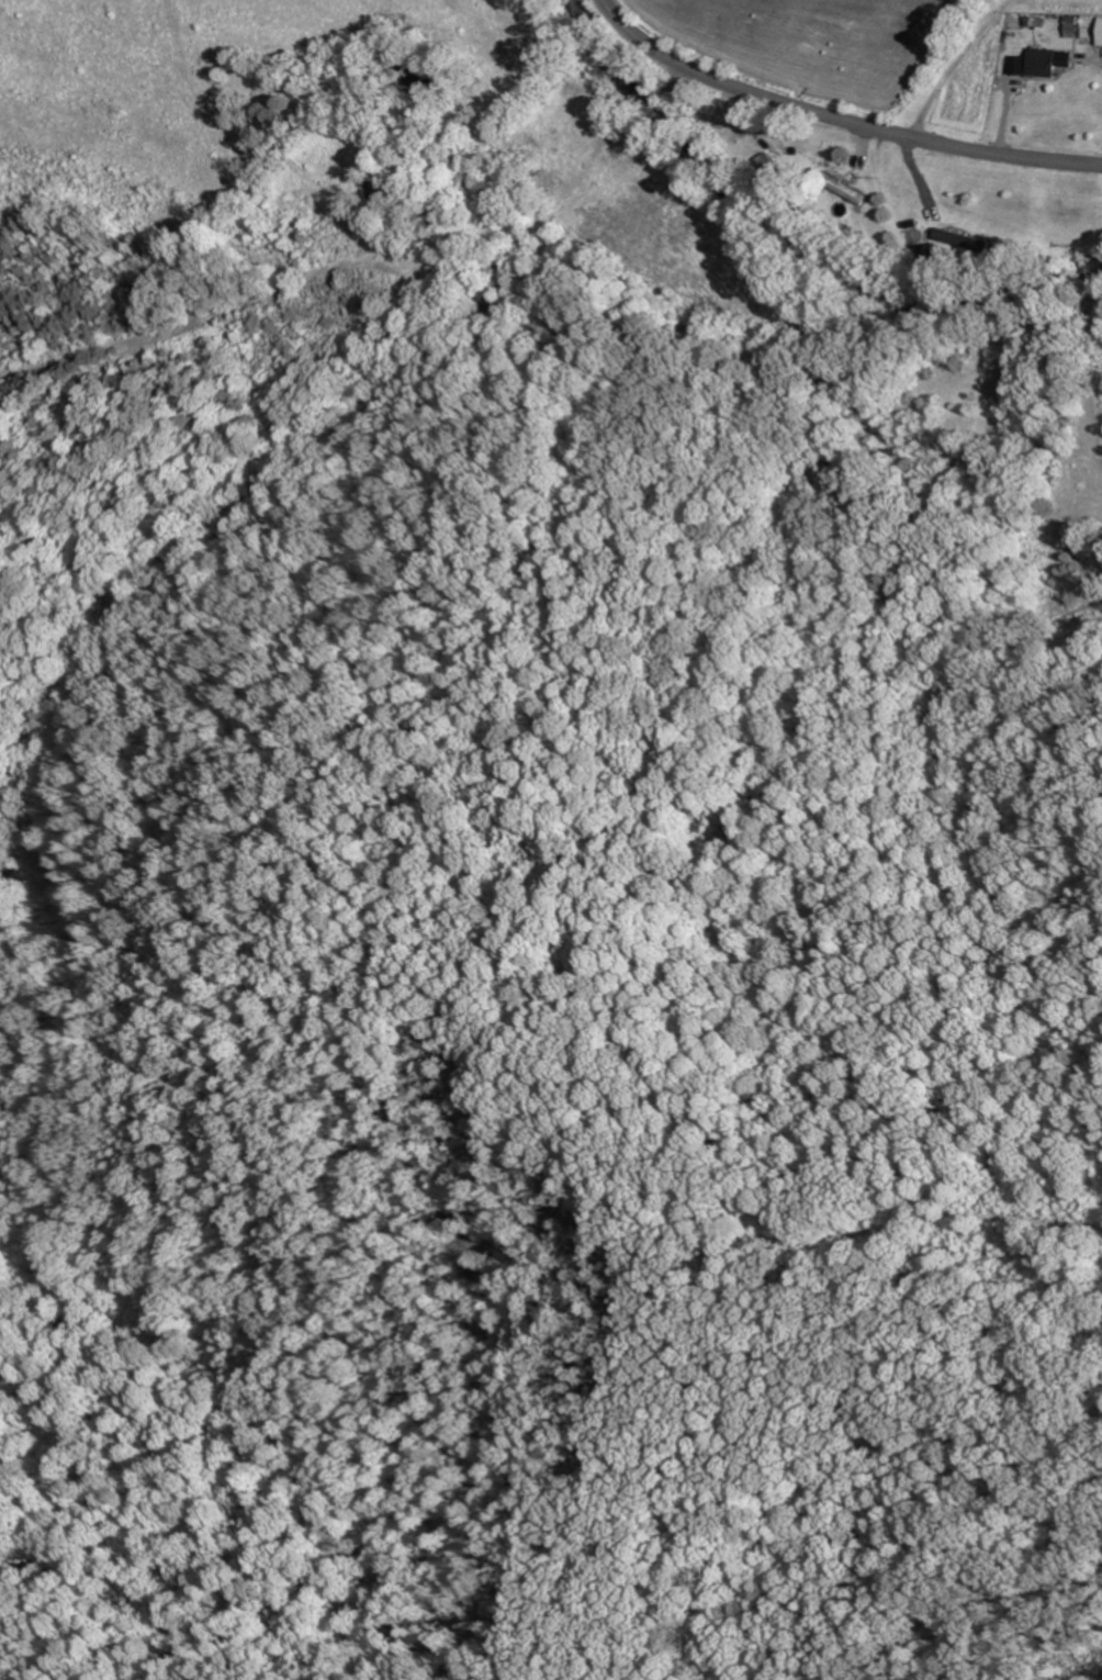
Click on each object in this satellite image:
building: (1045, 61)
road: (599, 117)
road: (839, 119)
building: (773, 171)
building: (386, 190)
building: (851, 191)

